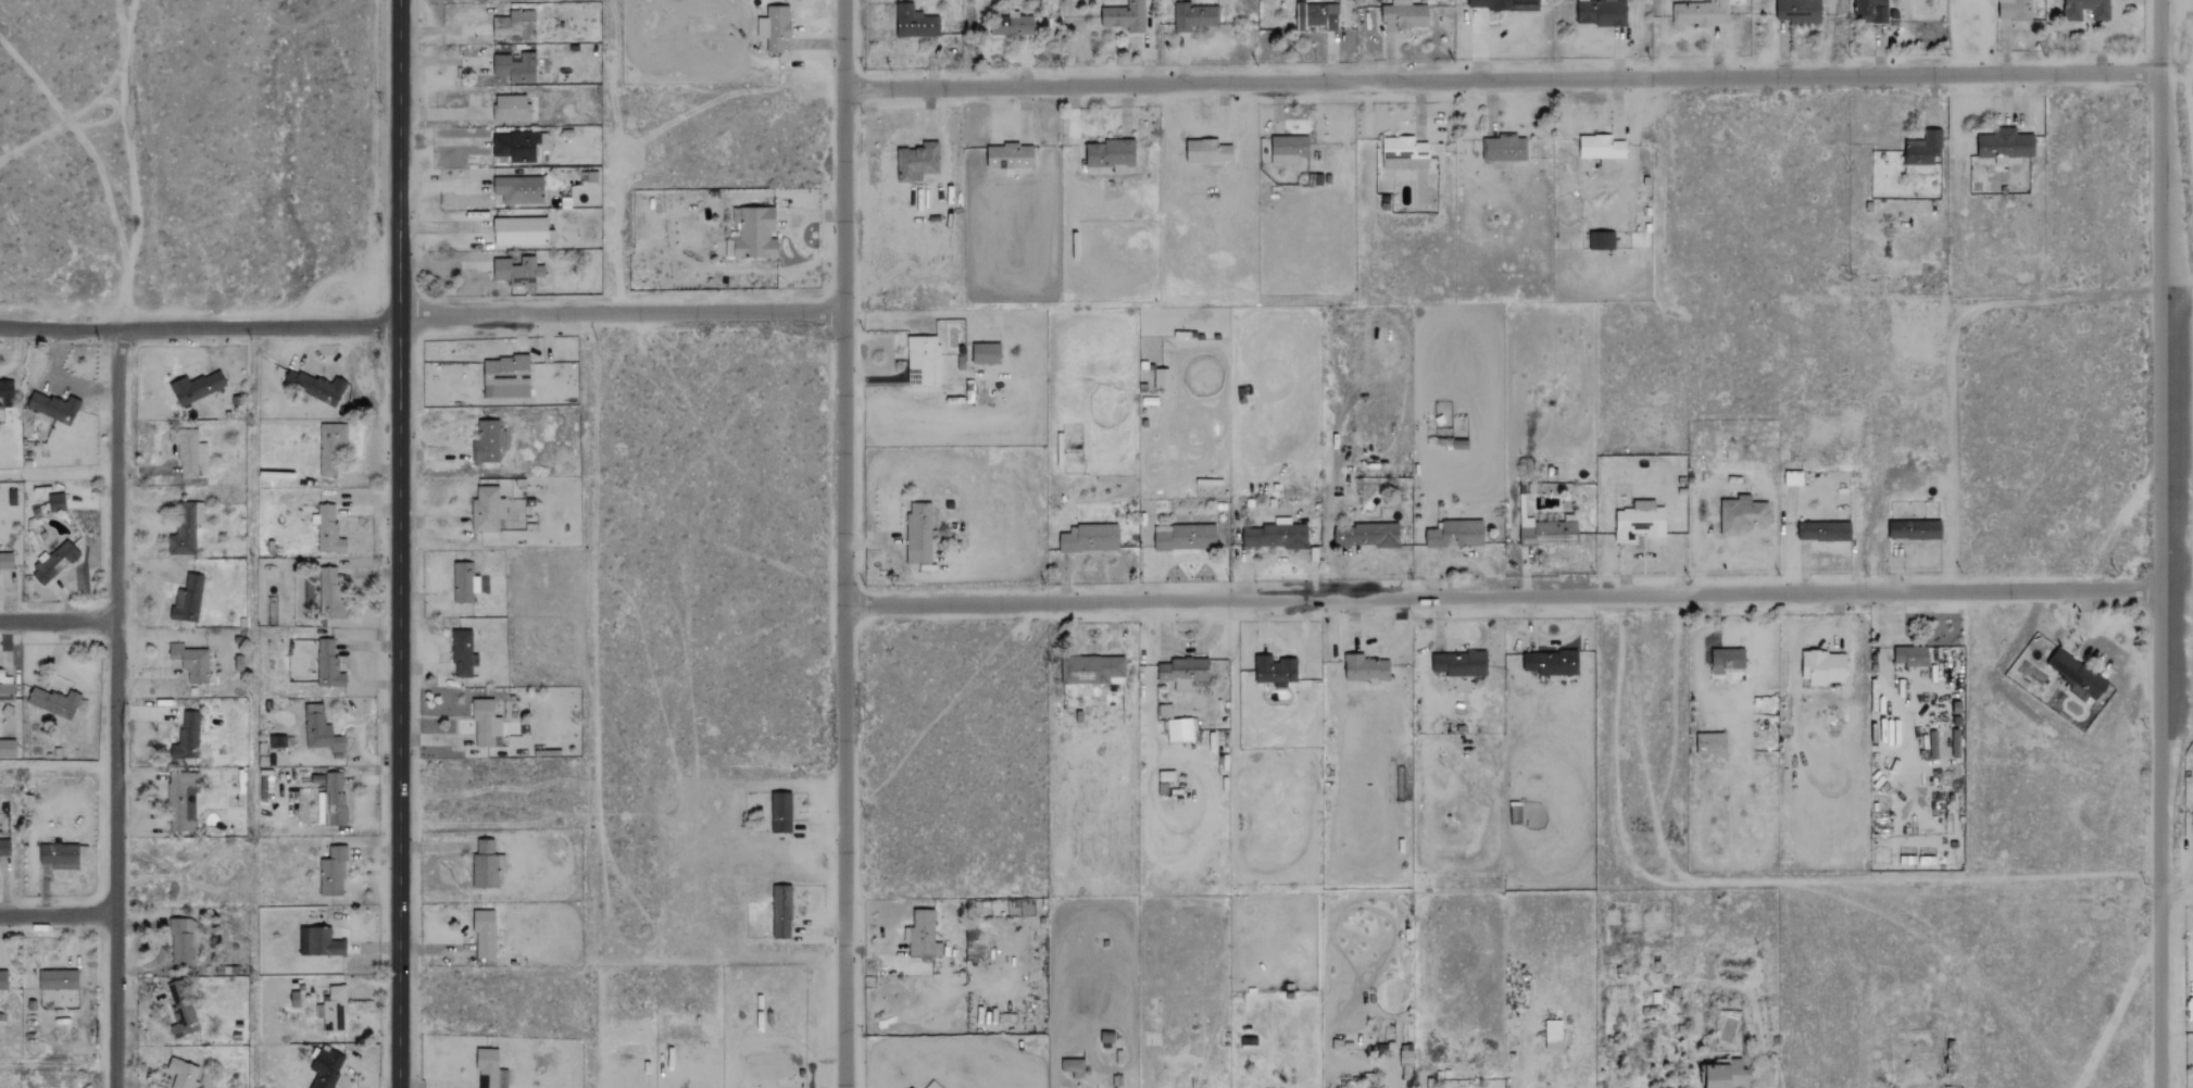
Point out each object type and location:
building: (1503, 4)
building: (2085, 9)
building: (1872, 10)
building: (2015, 10)
building: (1797, 11)
building: (1601, 12)
building: (1701, 13)
building: (1405, 14)
building: (1318, 15)
building: (1125, 16)
building: (1194, 16)
building: (915, 22)
building: (514, 25)
building: (1013, 25)
building: (772, 26)
road: (2176, 65)
building: (514, 66)
road: (1501, 83)
building: (511, 108)
building: (2005, 145)
building: (516, 146)
building: (1504, 148)
building: (1922, 148)
building: (1289, 149)
building: (1602, 150)
building: (1207, 151)
building: (1404, 153)
building: (1110, 154)
building: (1010, 157)
building: (917, 162)
road: (133, 165)
building: (519, 189)
building: (521, 230)
building: (753, 235)
building: (1600, 237)
building: (517, 271)
road: (2182, 296)
road: (621, 312)
road: (60, 327)
road: (260, 327)
road: (1953, 347)
building: (986, 353)
building: (923, 361)
building: (505, 377)
building: (1161, 379)
building: (196, 387)
building: (314, 387)
building: (5, 393)
building: (53, 408)
building: (488, 442)
building: (330, 448)
building: (188, 452)
building: (1792, 478)
building: (57, 502)
building: (486, 510)
building: (1741, 515)
building: (1640, 521)
building: (186, 529)
building: (327, 529)
building: (1915, 529)
building: (1546, 532)
building: (1824, 532)
building: (918, 534)
building: (1455, 534)
building: (1367, 535)
building: (1185, 537)
building: (1275, 537)
building: (1090, 538)
road: (400, 543)
road: (842, 543)
road: (2169, 543)
road: (1732, 553)
building: (5, 561)
building: (54, 562)
building: (464, 583)
building: (329, 596)
road: (1520, 596)
building: (187, 600)
road: (58, 622)
building: (462, 653)
building: (1912, 655)
building: (1727, 660)
building: (1645, 661)
building: (190, 662)
building: (328, 663)
building: (1551, 663)
building: (1459, 664)
building: (1824, 667)
building: (1365, 668)
building: (1092, 671)
building: (1275, 671)
building: (1182, 673)
building: (2077, 676)
building: (7, 692)
building: (53, 702)
road: (116, 708)
building: (1165, 711)
building: (484, 724)
building: (1180, 730)
building: (321, 733)
building: (188, 735)
building: (277, 741)
building: (1710, 743)
building: (7, 749)
building: (266, 786)
building: (334, 800)
building: (181, 801)
building: (780, 813)
building: (4, 848)
building: (59, 856)
building: (486, 866)
building: (186, 870)
building: (333, 873)
road: (2176, 881)
building: (781, 911)
road: (58, 914)
building: (484, 934)
building: (923, 935)
building: (180, 939)
building: (318, 941)
building: (3, 979)
building: (58, 979)
building: (496, 998)
building: (295, 999)
building: (180, 1008)
building: (333, 1008)
building: (1553, 1035)
building: (1406, 1056)
building: (1073, 1066)
building: (325, 1067)
building: (490, 1070)
building: (181, 1073)
building: (1725, 1075)
building: (1370, 1086)
road: (1759, 1087)

